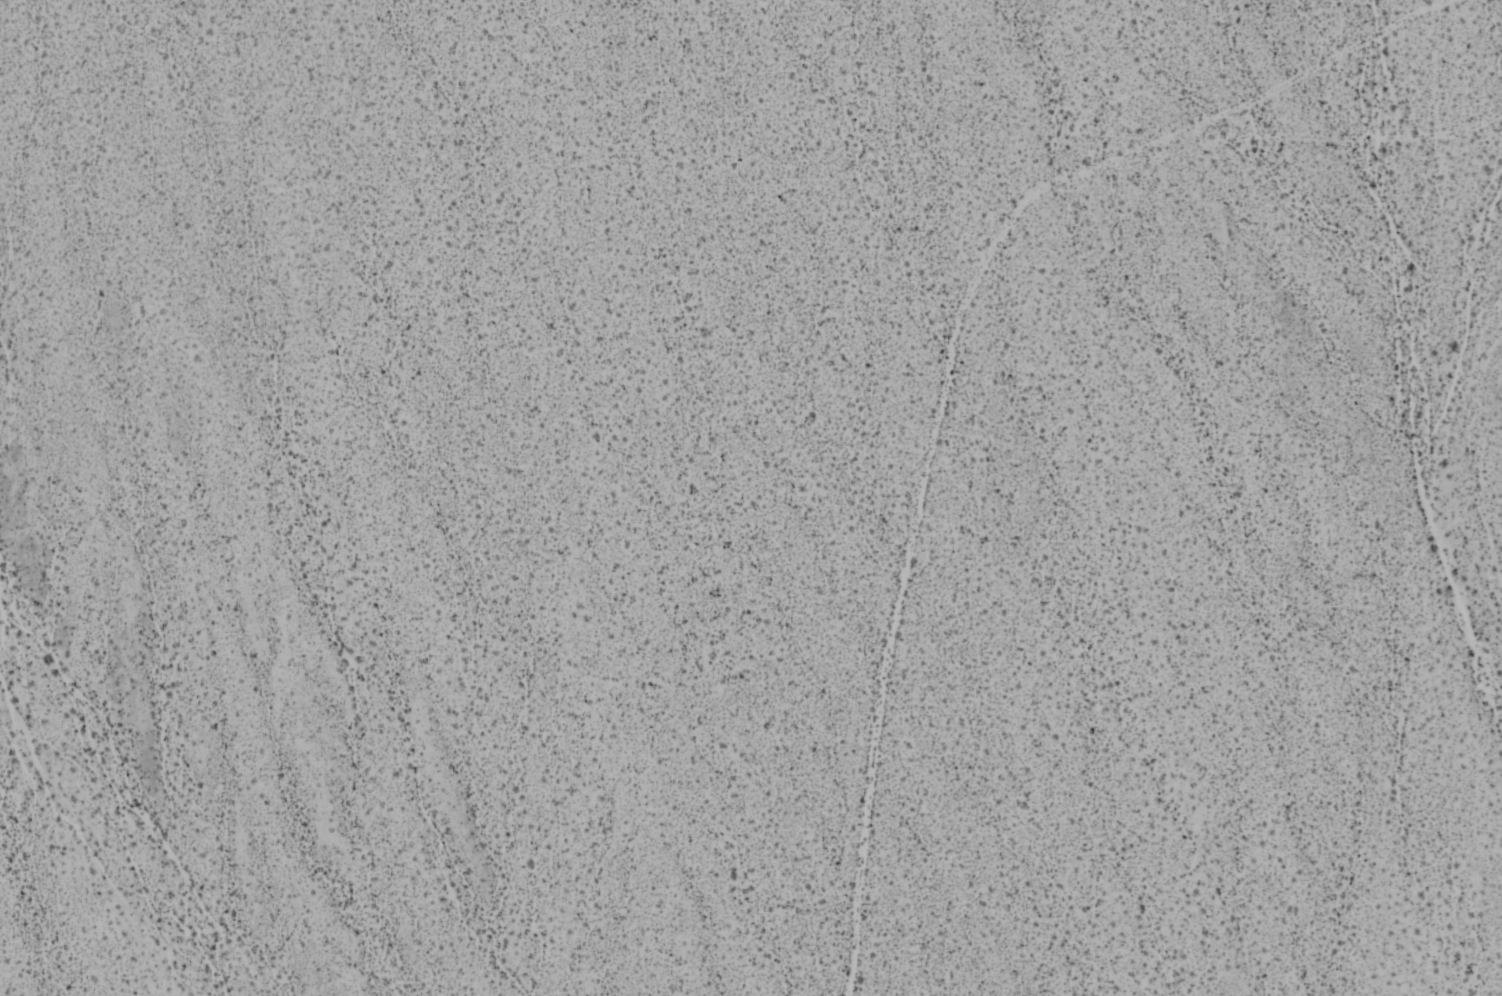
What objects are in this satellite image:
road: (958, 355)

